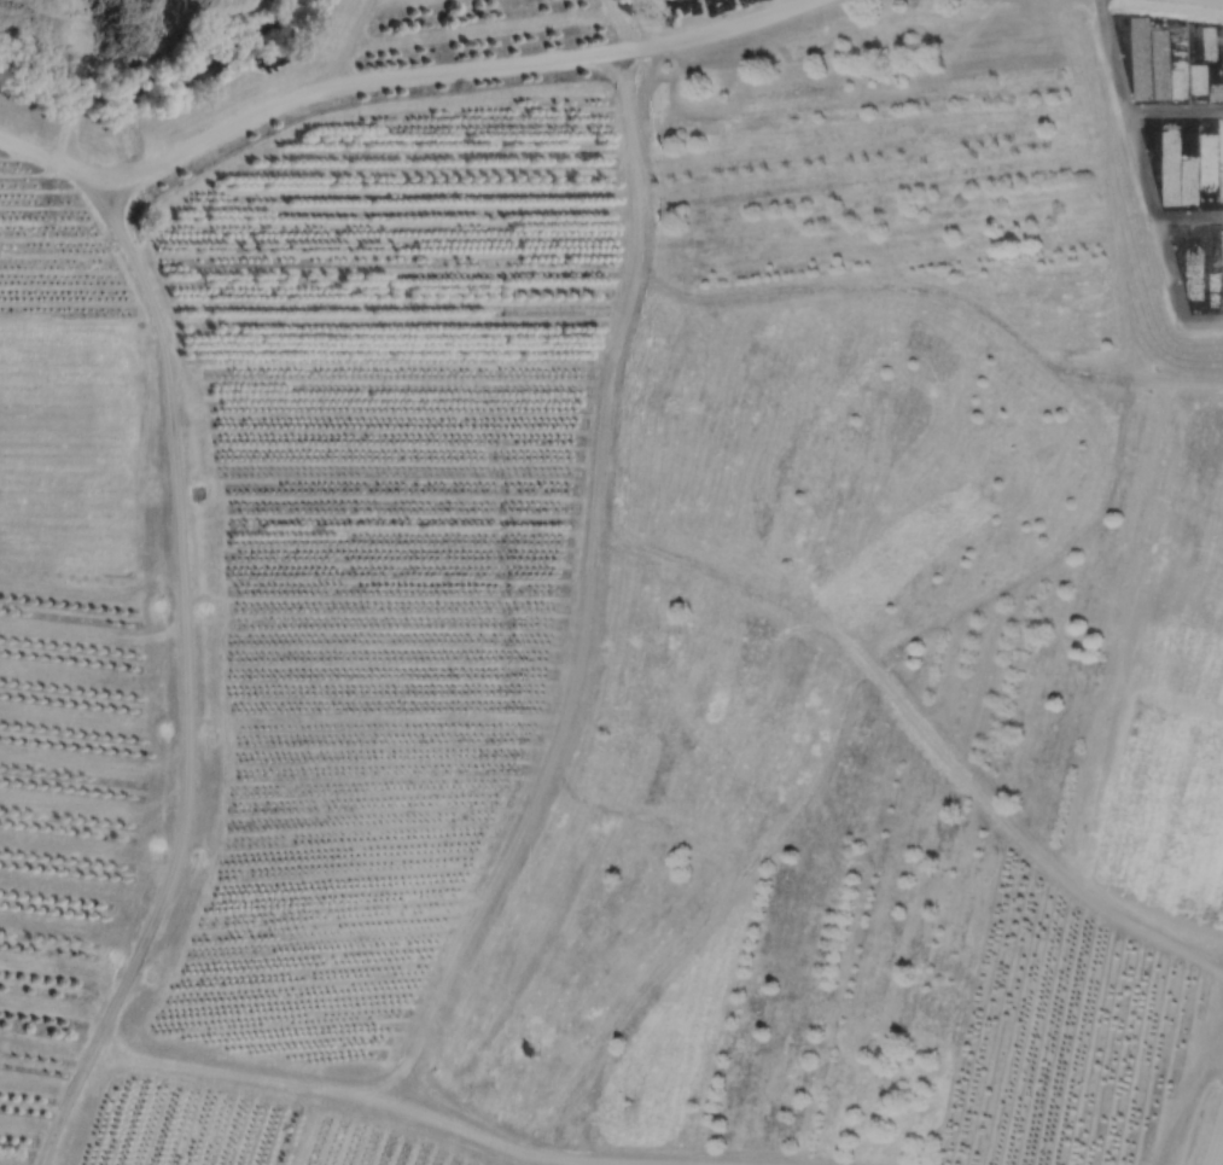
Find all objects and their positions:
road: (100, 34)
road: (82, 87)
road: (1175, 373)
road: (182, 637)
road: (1215, 1142)

